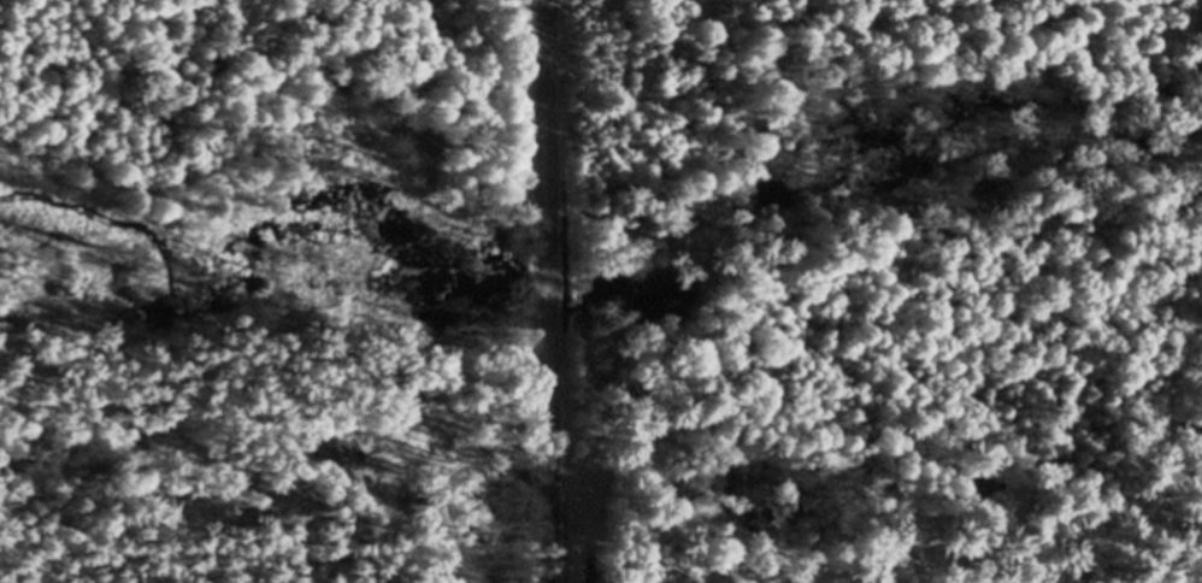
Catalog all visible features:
building: (440, 2)
road: (549, 291)

